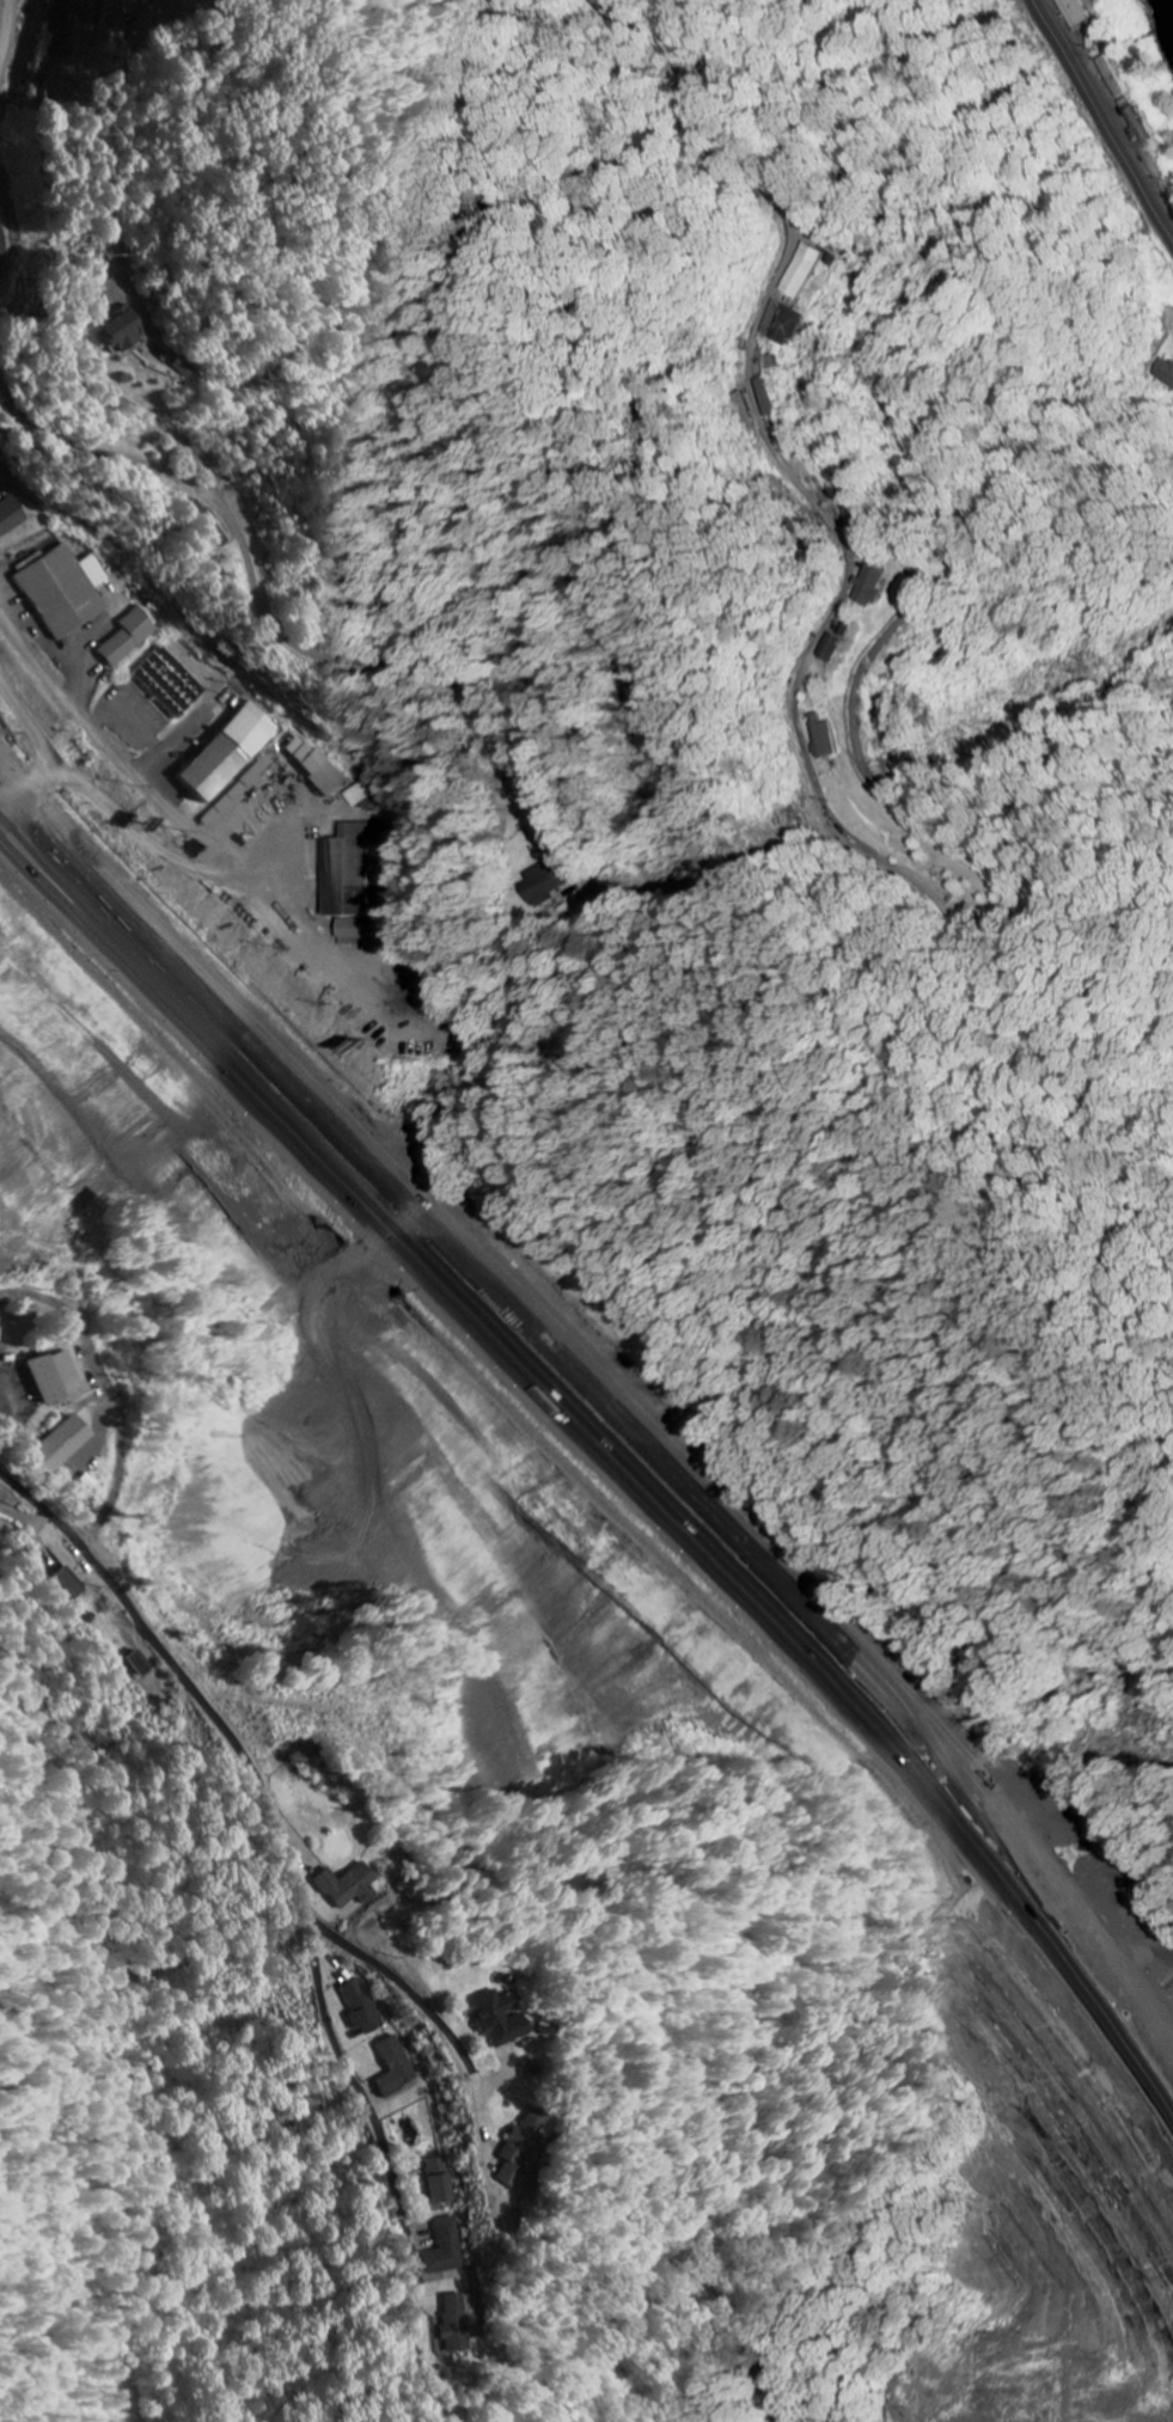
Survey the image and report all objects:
river: (1168, 6)
building: (1081, 14)
road: (1096, 126)
road: (2, 246)
building: (844, 252)
building: (806, 271)
building: (787, 324)
building: (126, 330)
road: (733, 392)
building: (770, 397)
building: (13, 516)
building: (874, 586)
building: (65, 591)
road: (258, 603)
building: (130, 637)
building: (837, 648)
building: (170, 684)
building: (829, 738)
building: (232, 752)
building: (319, 766)
building: (239, 791)
building: (355, 873)
building: (554, 880)
building: (362, 932)
road: (79, 1331)
building: (0, 1332)
road: (63, 1339)
building: (60, 1375)
road: (610, 1383)
road: (612, 1413)
road: (29, 1437)
building: (62, 1445)
road: (85, 1448)
road: (109, 1487)
building: (69, 1585)
building: (140, 1665)
power tower: (318, 1717)
road: (280, 1835)
building: (350, 1886)
road: (403, 1988)
building: (363, 2007)
building: (511, 2016)
building: (398, 2067)
building: (441, 2181)
building: (447, 2247)
building: (463, 2322)
road: (758, 2350)

